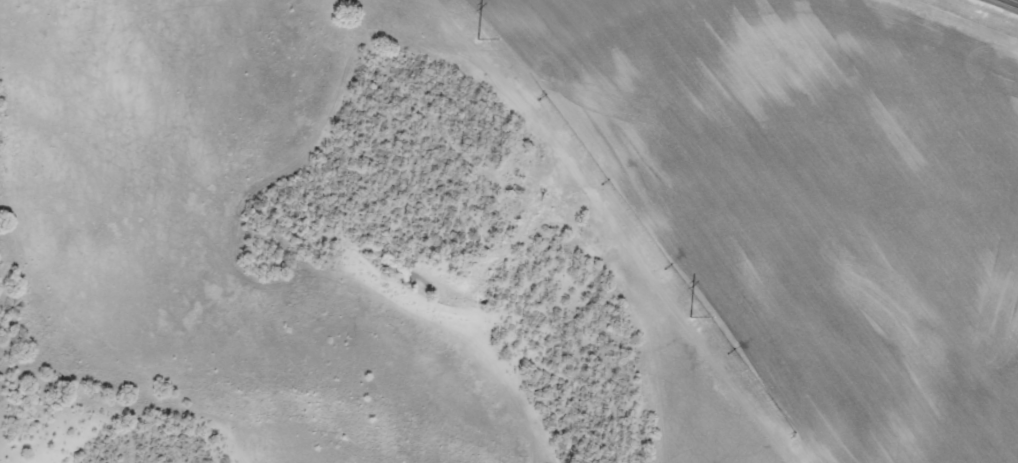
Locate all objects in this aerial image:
road: (1015, 0)
railway: (966, 19)
power tower: (470, 32)
power tower: (682, 311)

